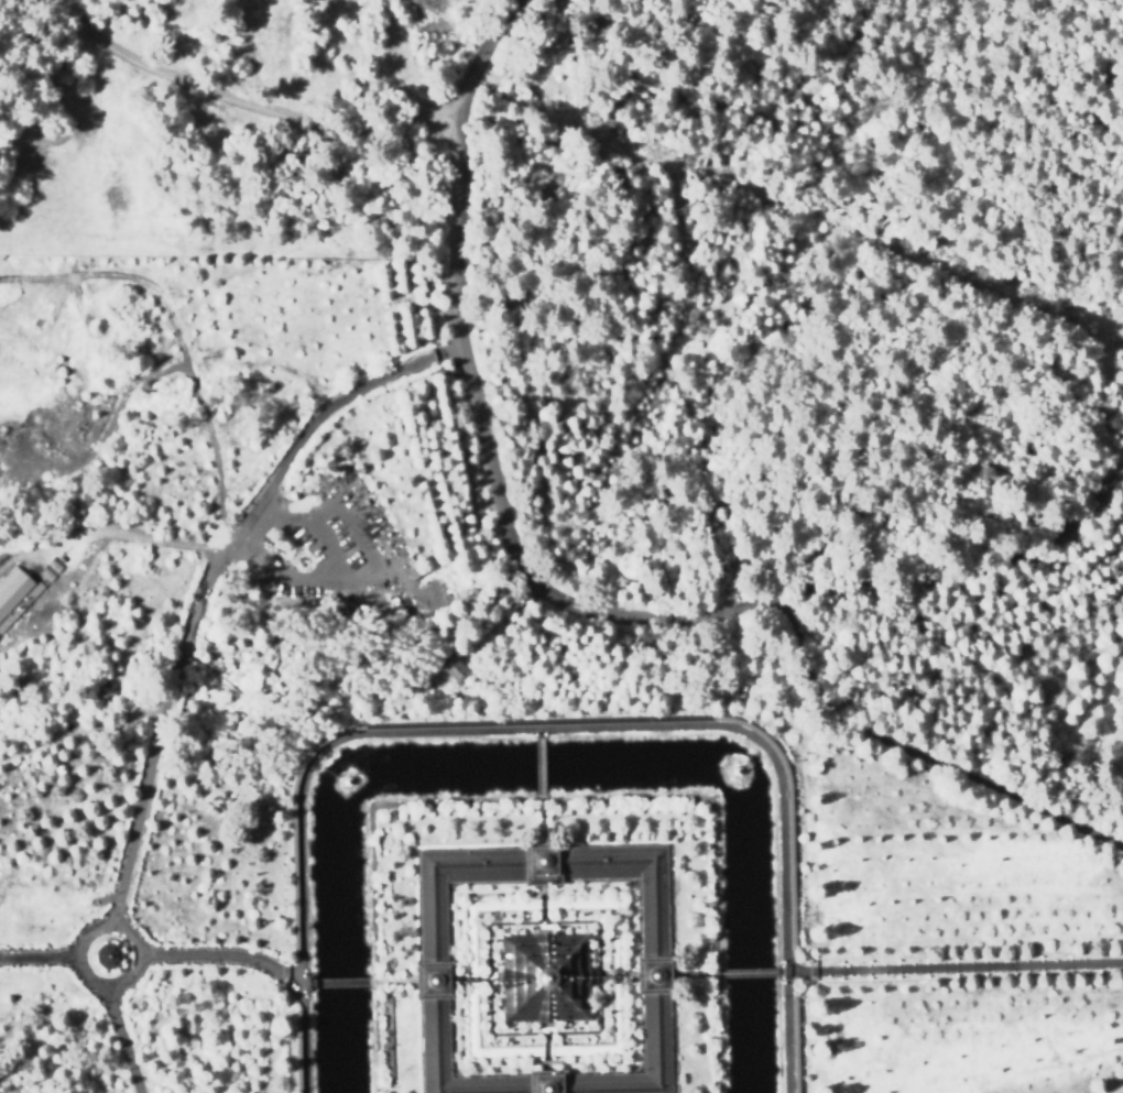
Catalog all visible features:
power tower: (462, 58)
road: (257, 106)
parking lot: (352, 542)
building: (68, 554)
building: (55, 564)
building: (435, 579)
road: (212, 581)
road: (549, 586)
building: (15, 593)
building: (456, 666)
road: (545, 730)
road: (538, 734)
road: (919, 750)
road: (539, 769)
building: (737, 770)
building: (347, 780)
road: (541, 822)
road: (542, 864)
road: (542, 890)
road: (39, 957)
building: (109, 957)
road: (222, 957)
road: (953, 968)
building: (432, 969)
road: (749, 972)
road: (783, 972)
road: (694, 973)
road: (653, 974)
road: (632, 975)
road: (126, 976)
building: (542, 976)
road: (432, 980)
road: (457, 980)
road: (393, 981)
building: (307, 982)
road: (341, 982)
road: (305, 983)
road: (122, 1038)
road: (630, 1060)
road: (546, 1068)
road: (546, 1082)

